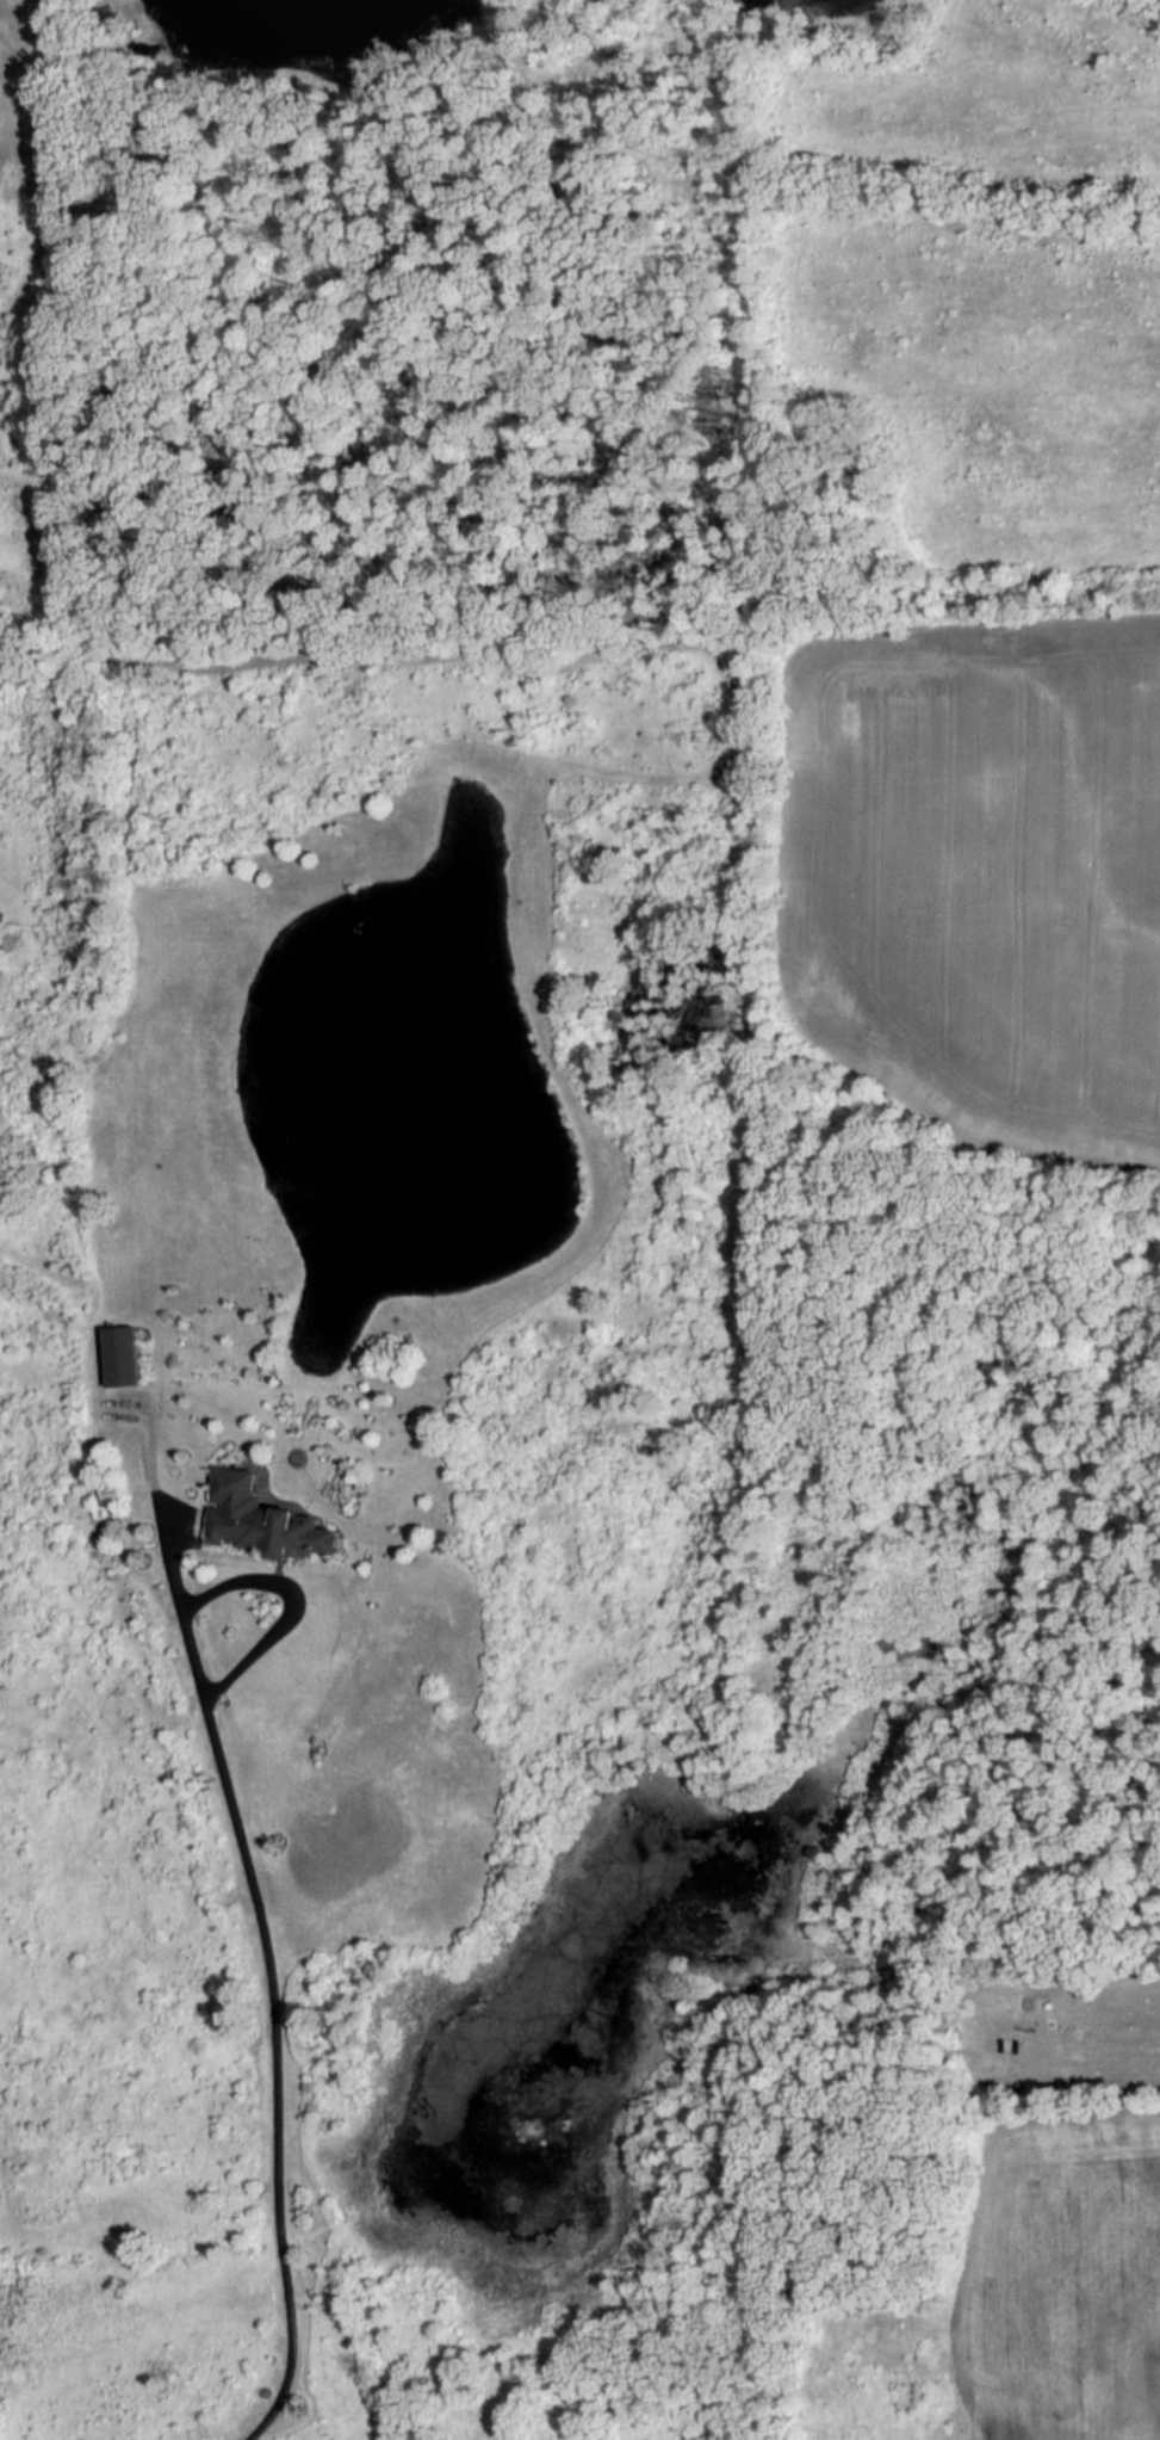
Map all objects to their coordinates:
building: (120, 1355)
building: (260, 1515)
road: (262, 1580)
road: (278, 2069)

